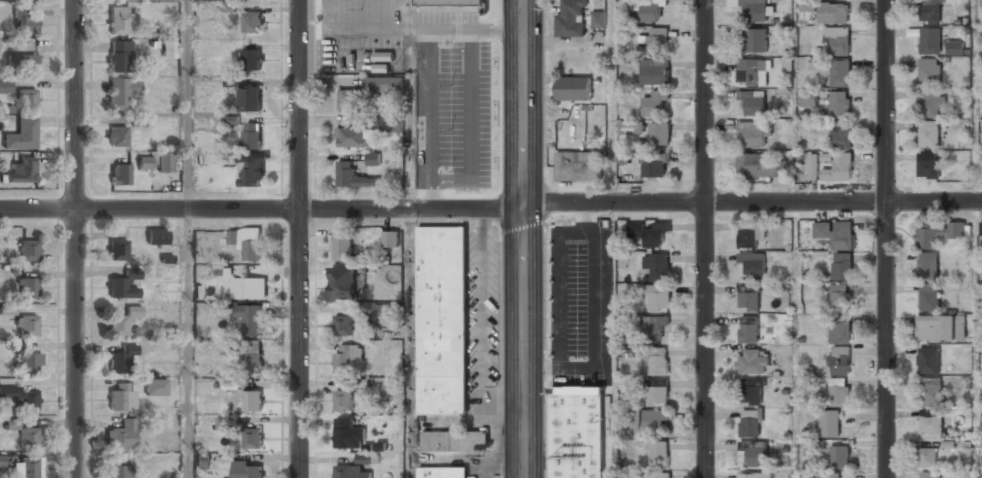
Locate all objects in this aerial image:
building: (451, 2)
building: (981, 3)
building: (808, 5)
building: (651, 10)
building: (755, 10)
building: (929, 11)
building: (833, 12)
building: (571, 18)
building: (598, 18)
building: (118, 20)
building: (23, 21)
building: (252, 21)
building: (656, 38)
building: (755, 40)
building: (837, 40)
building: (929, 40)
building: (429, 47)
building: (955, 47)
building: (169, 49)
building: (118, 54)
building: (252, 58)
building: (466, 58)
building: (22, 62)
building: (749, 70)
building: (929, 70)
building: (840, 71)
building: (654, 74)
building: (383, 84)
building: (5, 87)
building: (573, 88)
building: (459, 90)
building: (121, 92)
building: (810, 96)
building: (250, 99)
building: (26, 100)
building: (349, 100)
road: (611, 101)
road: (794, 101)
building: (752, 102)
building: (838, 102)
building: (653, 103)
building: (930, 103)
road: (409, 104)
road: (188, 105)
building: (391, 123)
building: (629, 127)
building: (471, 131)
building: (755, 132)
building: (117, 133)
building: (659, 133)
building: (929, 134)
building: (21, 135)
building: (841, 135)
building: (251, 136)
building: (352, 137)
building: (373, 158)
building: (164, 162)
building: (143, 163)
building: (654, 165)
building: (760, 165)
building: (928, 165)
building: (578, 166)
building: (457, 167)
building: (840, 167)
building: (980, 168)
building: (20, 171)
building: (251, 173)
building: (813, 173)
building: (119, 175)
building: (353, 176)
road: (752, 203)
road: (262, 209)
building: (981, 227)
building: (649, 231)
building: (750, 232)
building: (937, 232)
building: (836, 233)
building: (157, 236)
building: (391, 238)
road: (710, 238)
road: (76, 239)
road: (299, 239)
road: (524, 239)
road: (884, 239)
building: (248, 242)
building: (343, 245)
building: (28, 249)
building: (117, 249)
building: (753, 263)
building: (657, 264)
building: (928, 265)
building: (841, 266)
building: (346, 281)
building: (27, 287)
building: (120, 287)
building: (249, 288)
building: (657, 296)
building: (929, 296)
building: (840, 297)
building: (749, 298)
building: (382, 311)
building: (250, 318)
building: (442, 320)
building: (123, 321)
building: (26, 324)
building: (343, 325)
building: (653, 327)
building: (940, 328)
building: (749, 329)
building: (840, 332)
road: (793, 340)
road: (409, 343)
road: (188, 344)
building: (14, 345)
building: (252, 357)
building: (349, 358)
building: (121, 359)
building: (657, 360)
building: (839, 360)
building: (928, 360)
building: (752, 362)
building: (30, 363)
building: (156, 387)
building: (751, 391)
building: (930, 391)
building: (839, 392)
building: (657, 395)
building: (121, 397)
building: (19, 398)
building: (252, 400)
building: (343, 400)
building: (649, 419)
building: (750, 422)
building: (828, 422)
building: (225, 423)
building: (931, 425)
building: (343, 432)
building: (576, 432)
building: (25, 435)
building: (121, 435)
building: (253, 438)
building: (455, 441)
building: (754, 451)
building: (659, 454)
building: (839, 456)
building: (926, 457)
building: (368, 459)
building: (0, 460)
building: (202, 460)
building: (25, 467)
building: (246, 470)
building: (118, 472)
building: (351, 472)
building: (442, 472)
building: (829, 474)
building: (980, 474)
building: (659, 475)
building: (755, 475)
building: (929, 475)

